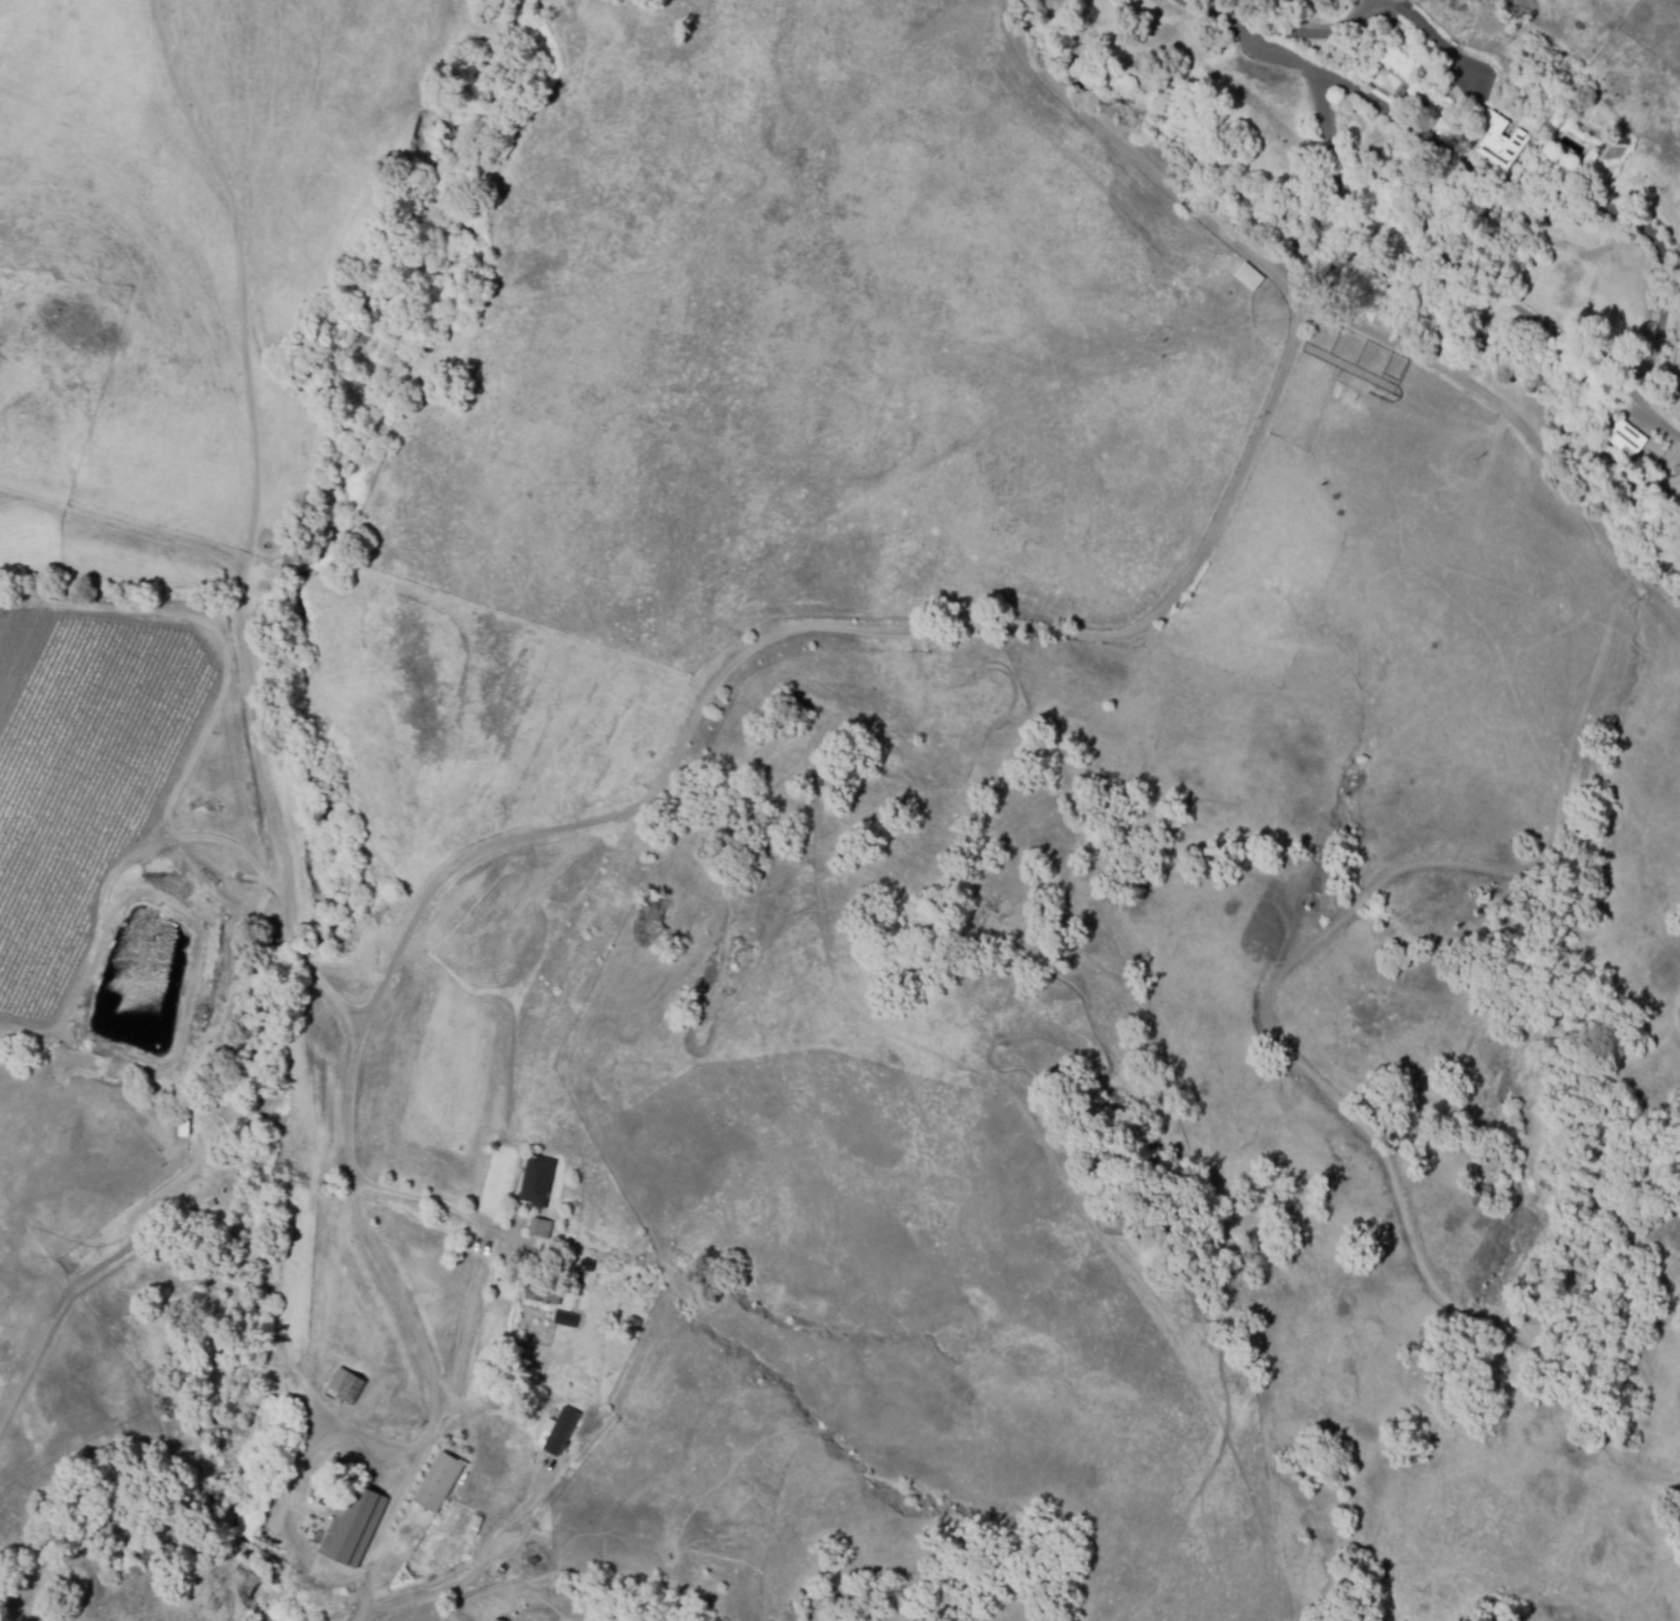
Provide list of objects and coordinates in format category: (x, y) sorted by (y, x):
road: (1312, 31)
road: (1428, 31)
road: (1263, 38)
building: (1355, 60)
building: (1499, 141)
road: (1472, 272)
building: (1247, 275)
road: (1338, 318)
building: (1677, 372)
building: (1623, 435)
road: (8, 494)
road: (8, 499)
road: (832, 621)
road: (250, 682)
road: (360, 1007)
road: (350, 1027)
building: (536, 1180)
road: (433, 1200)
building: (540, 1226)
building: (543, 1295)
road: (412, 1334)
building: (558, 1430)
building: (439, 1481)
building: (353, 1528)
road: (481, 1564)

